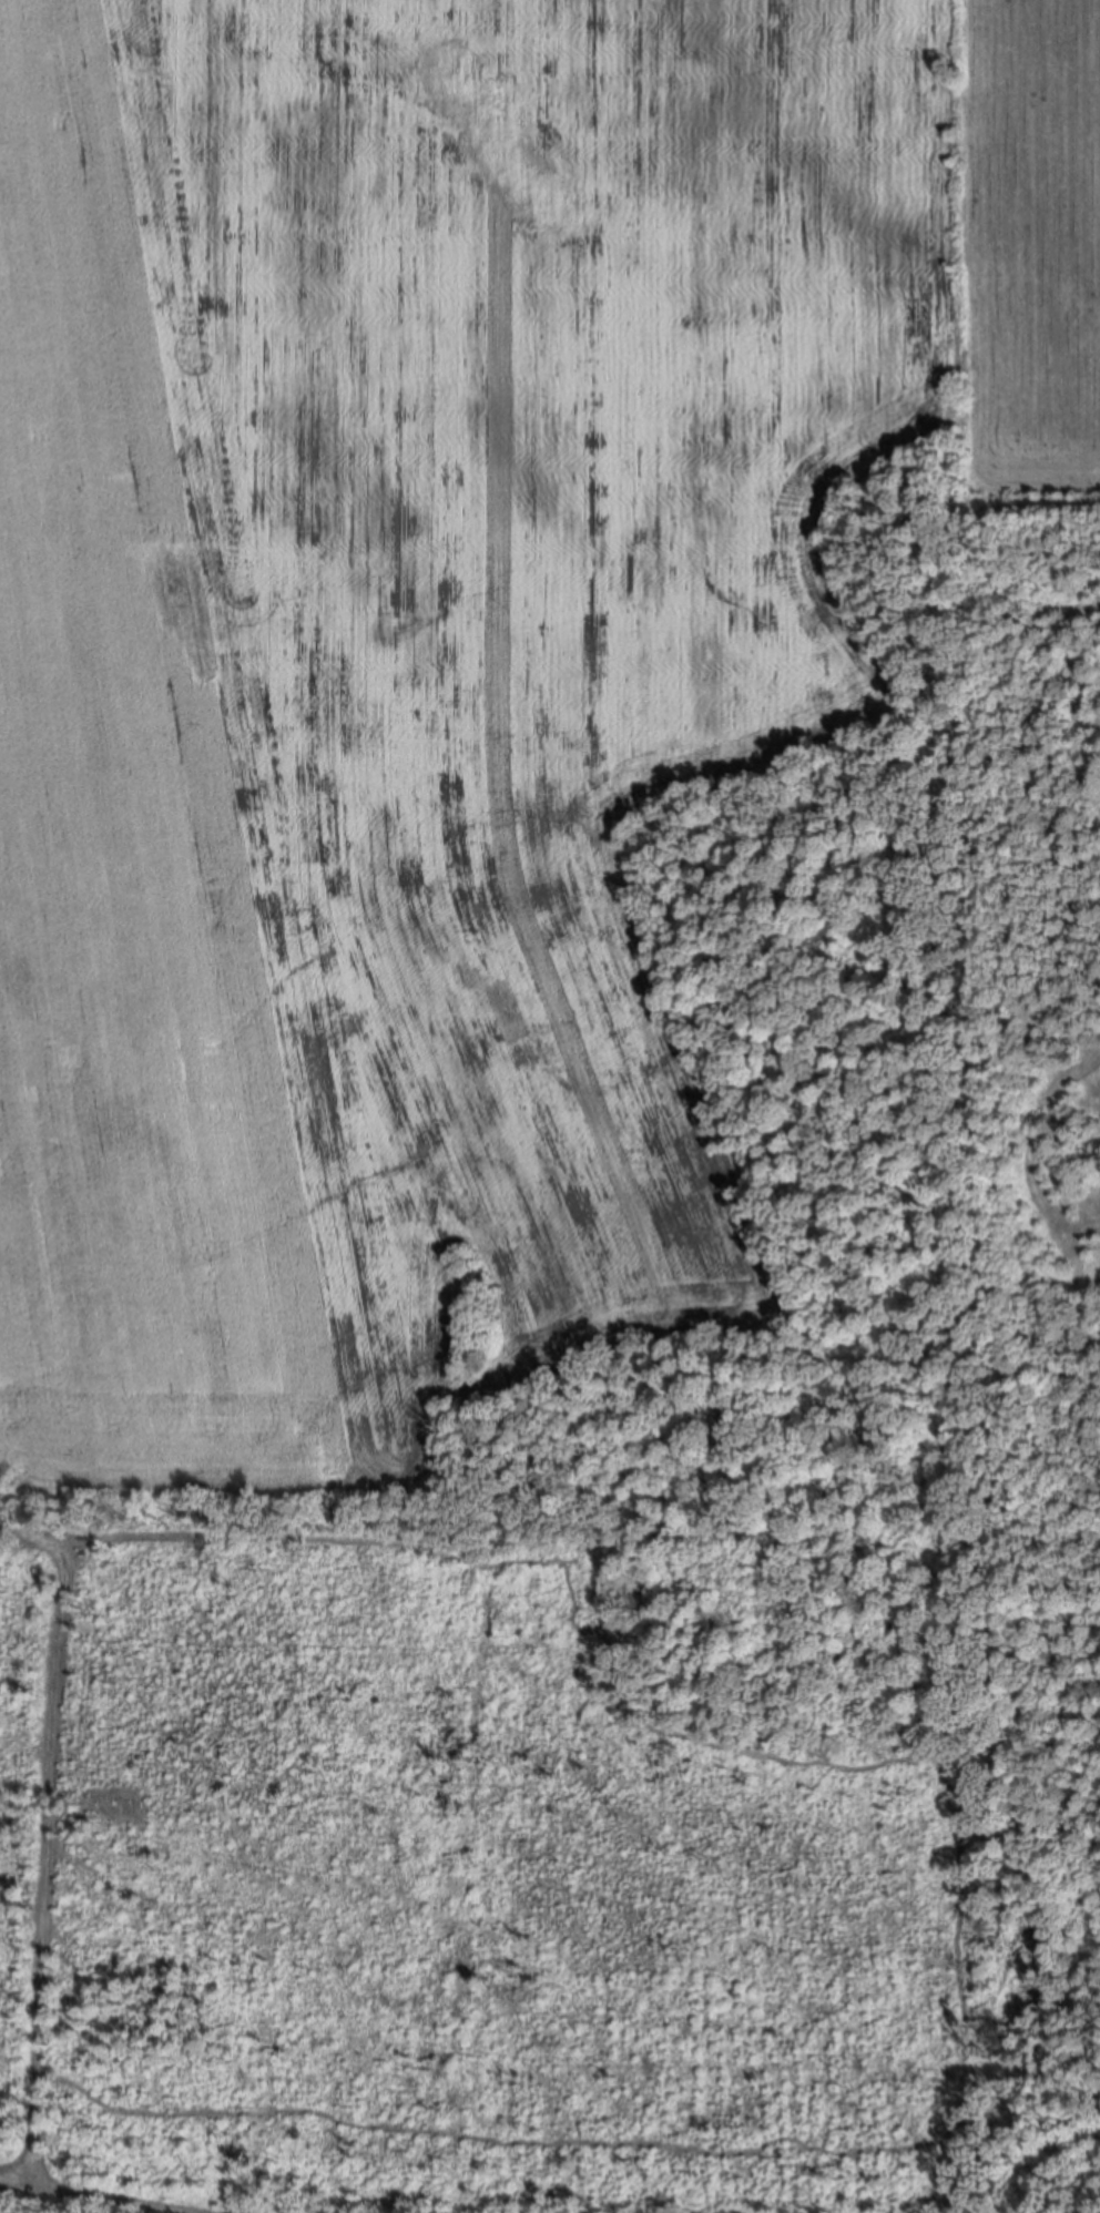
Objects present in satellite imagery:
crop: (1033, 239)
crop: (409, 679)

